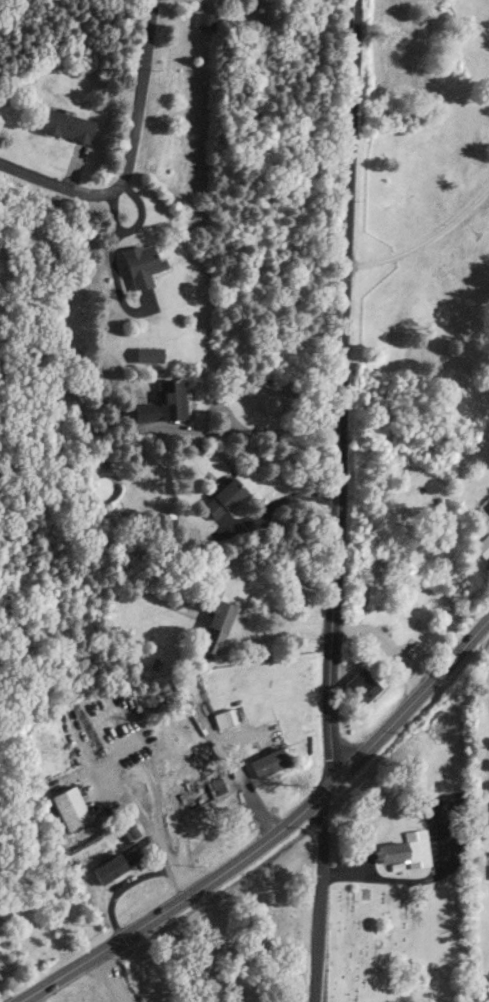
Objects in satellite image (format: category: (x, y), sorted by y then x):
building: (205, 20)
building: (69, 125)
road: (129, 155)
road: (423, 240)
building: (143, 264)
road: (340, 389)
building: (165, 402)
road: (224, 408)
road: (248, 432)
building: (225, 498)
building: (484, 546)
road: (245, 612)
building: (217, 624)
road: (387, 645)
building: (412, 653)
building: (364, 685)
building: (226, 717)
building: (271, 763)
road: (238, 772)
building: (204, 793)
building: (71, 808)
road: (153, 834)
road: (271, 834)
building: (408, 850)
building: (109, 868)
road: (417, 879)
road: (122, 886)
road: (319, 897)
road: (111, 978)

